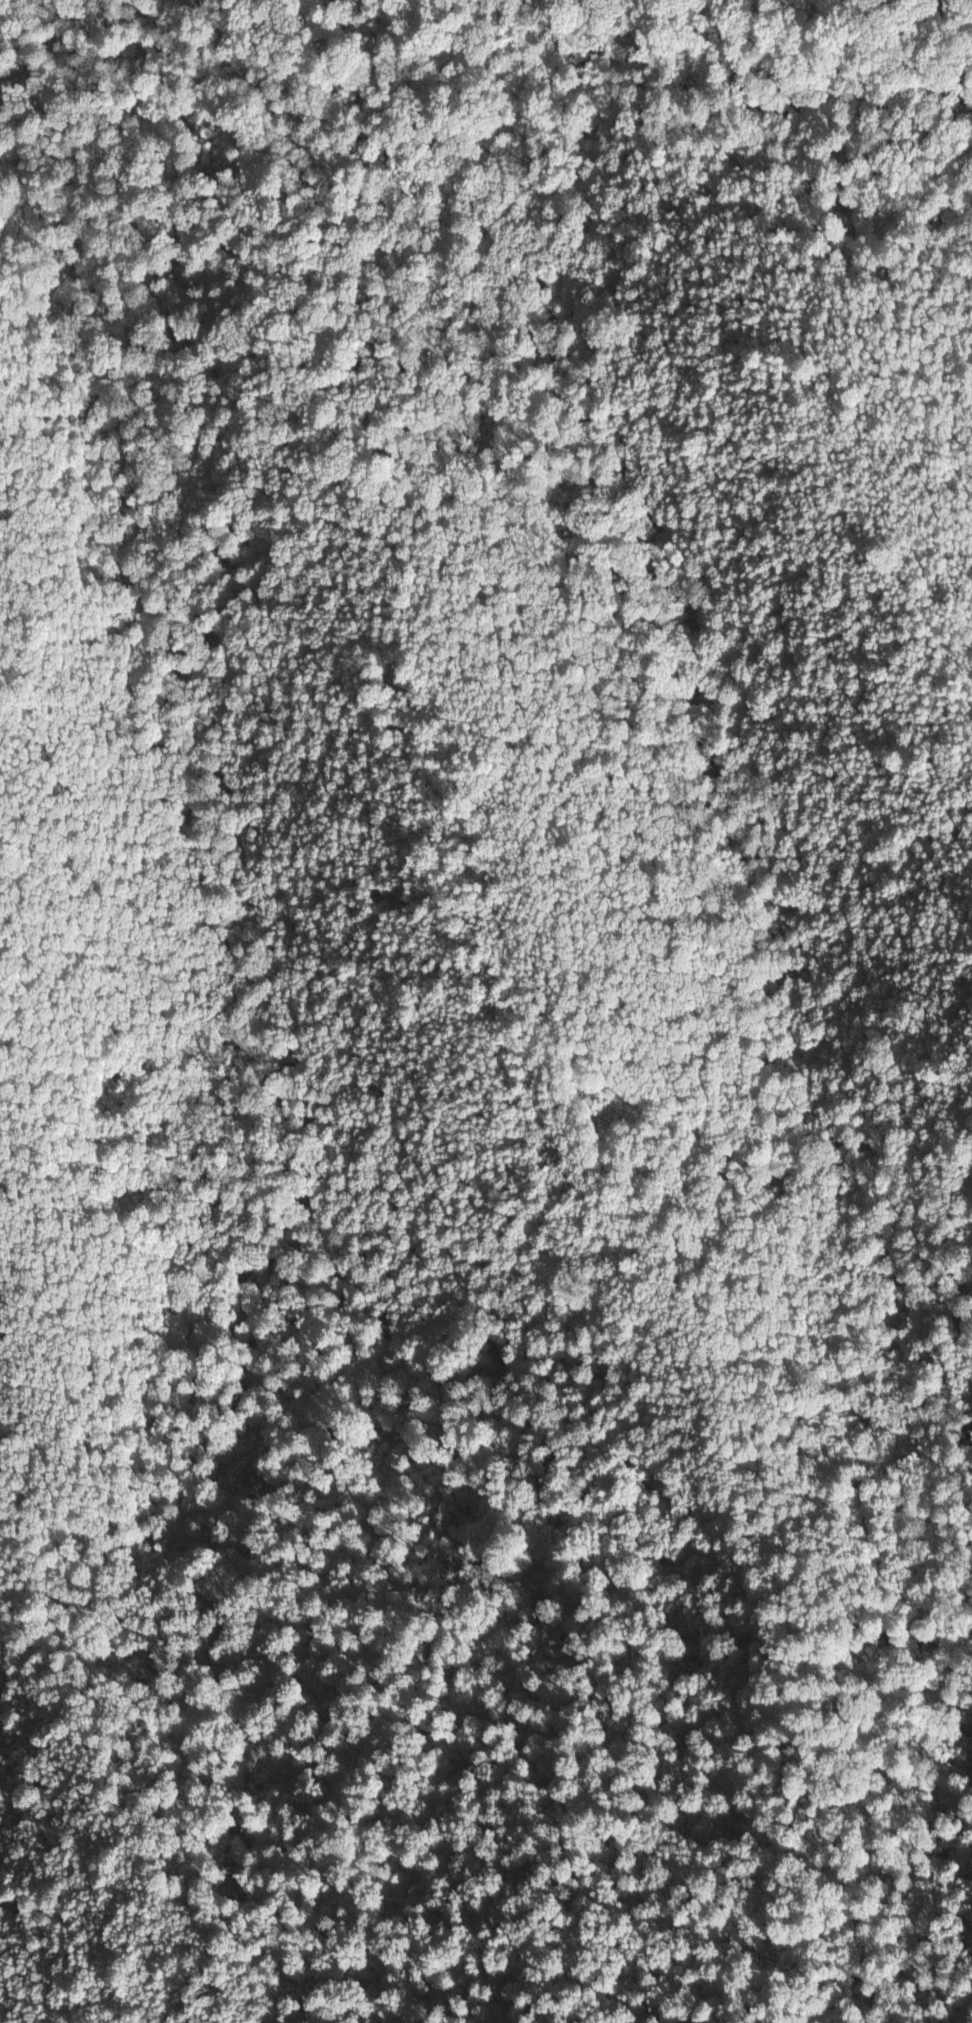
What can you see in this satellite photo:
road: (489, 269)

